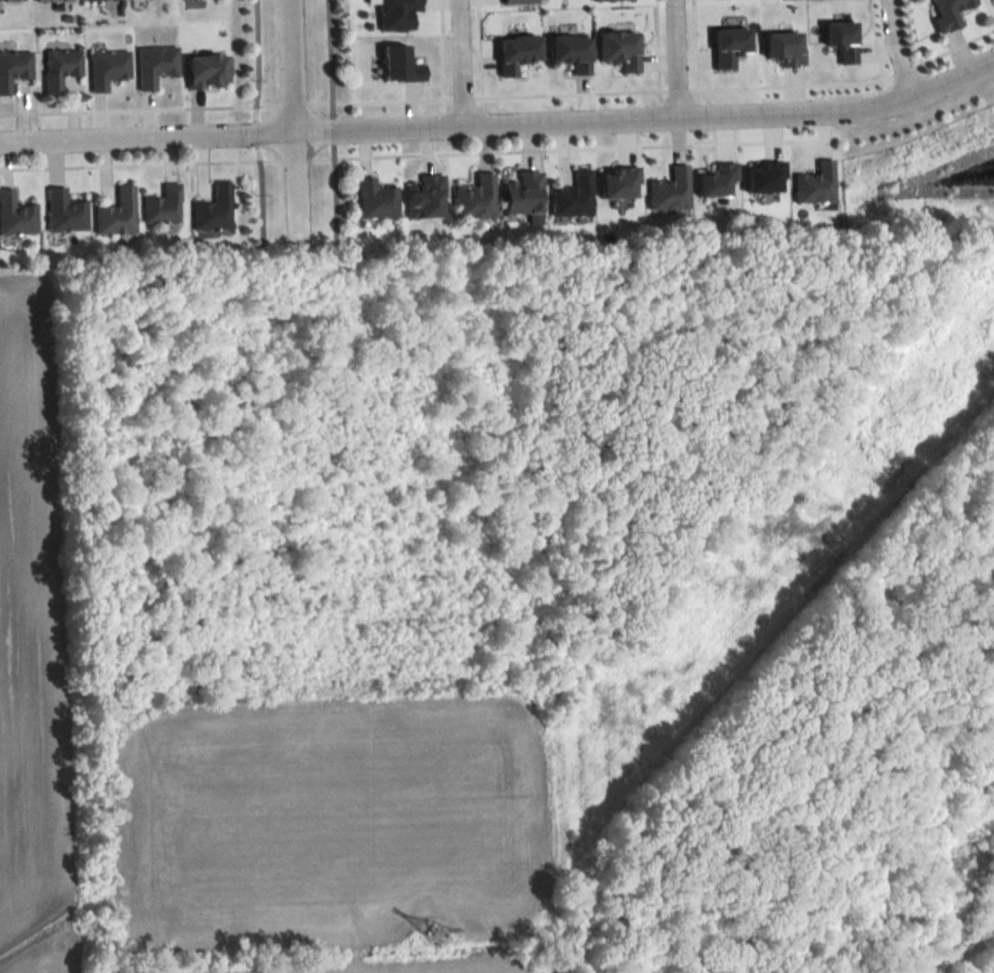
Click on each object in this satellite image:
building: (5, 0)
building: (51, 0)
building: (516, 0)
building: (606, 0)
building: (992, 2)
building: (944, 12)
building: (394, 13)
road: (907, 32)
building: (838, 37)
building: (725, 43)
building: (780, 44)
road: (874, 44)
building: (616, 46)
road: (951, 46)
road: (477, 48)
building: (568, 48)
building: (514, 49)
road: (692, 49)
road: (893, 49)
road: (655, 50)
road: (440, 55)
road: (328, 59)
road: (672, 59)
building: (398, 62)
road: (459, 63)
building: (155, 65)
building: (13, 68)
building: (59, 68)
building: (107, 68)
building: (208, 70)
road: (901, 70)
road: (789, 84)
road: (675, 88)
road: (567, 91)
road: (461, 97)
road: (378, 100)
road: (291, 101)
road: (289, 122)
road: (502, 124)
road: (331, 130)
road: (571, 149)
road: (294, 159)
road: (140, 163)
building: (762, 174)
building: (713, 179)
building: (616, 180)
building: (813, 182)
building: (668, 189)
building: (520, 192)
building: (571, 195)
building: (373, 197)
building: (424, 197)
building: (474, 197)
road: (331, 198)
building: (162, 206)
building: (214, 210)
building: (64, 212)
building: (116, 214)
building: (15, 215)
power tower: (813, 510)
crop: (31, 640)
crop: (329, 820)
power tower: (431, 930)
crop: (374, 967)

